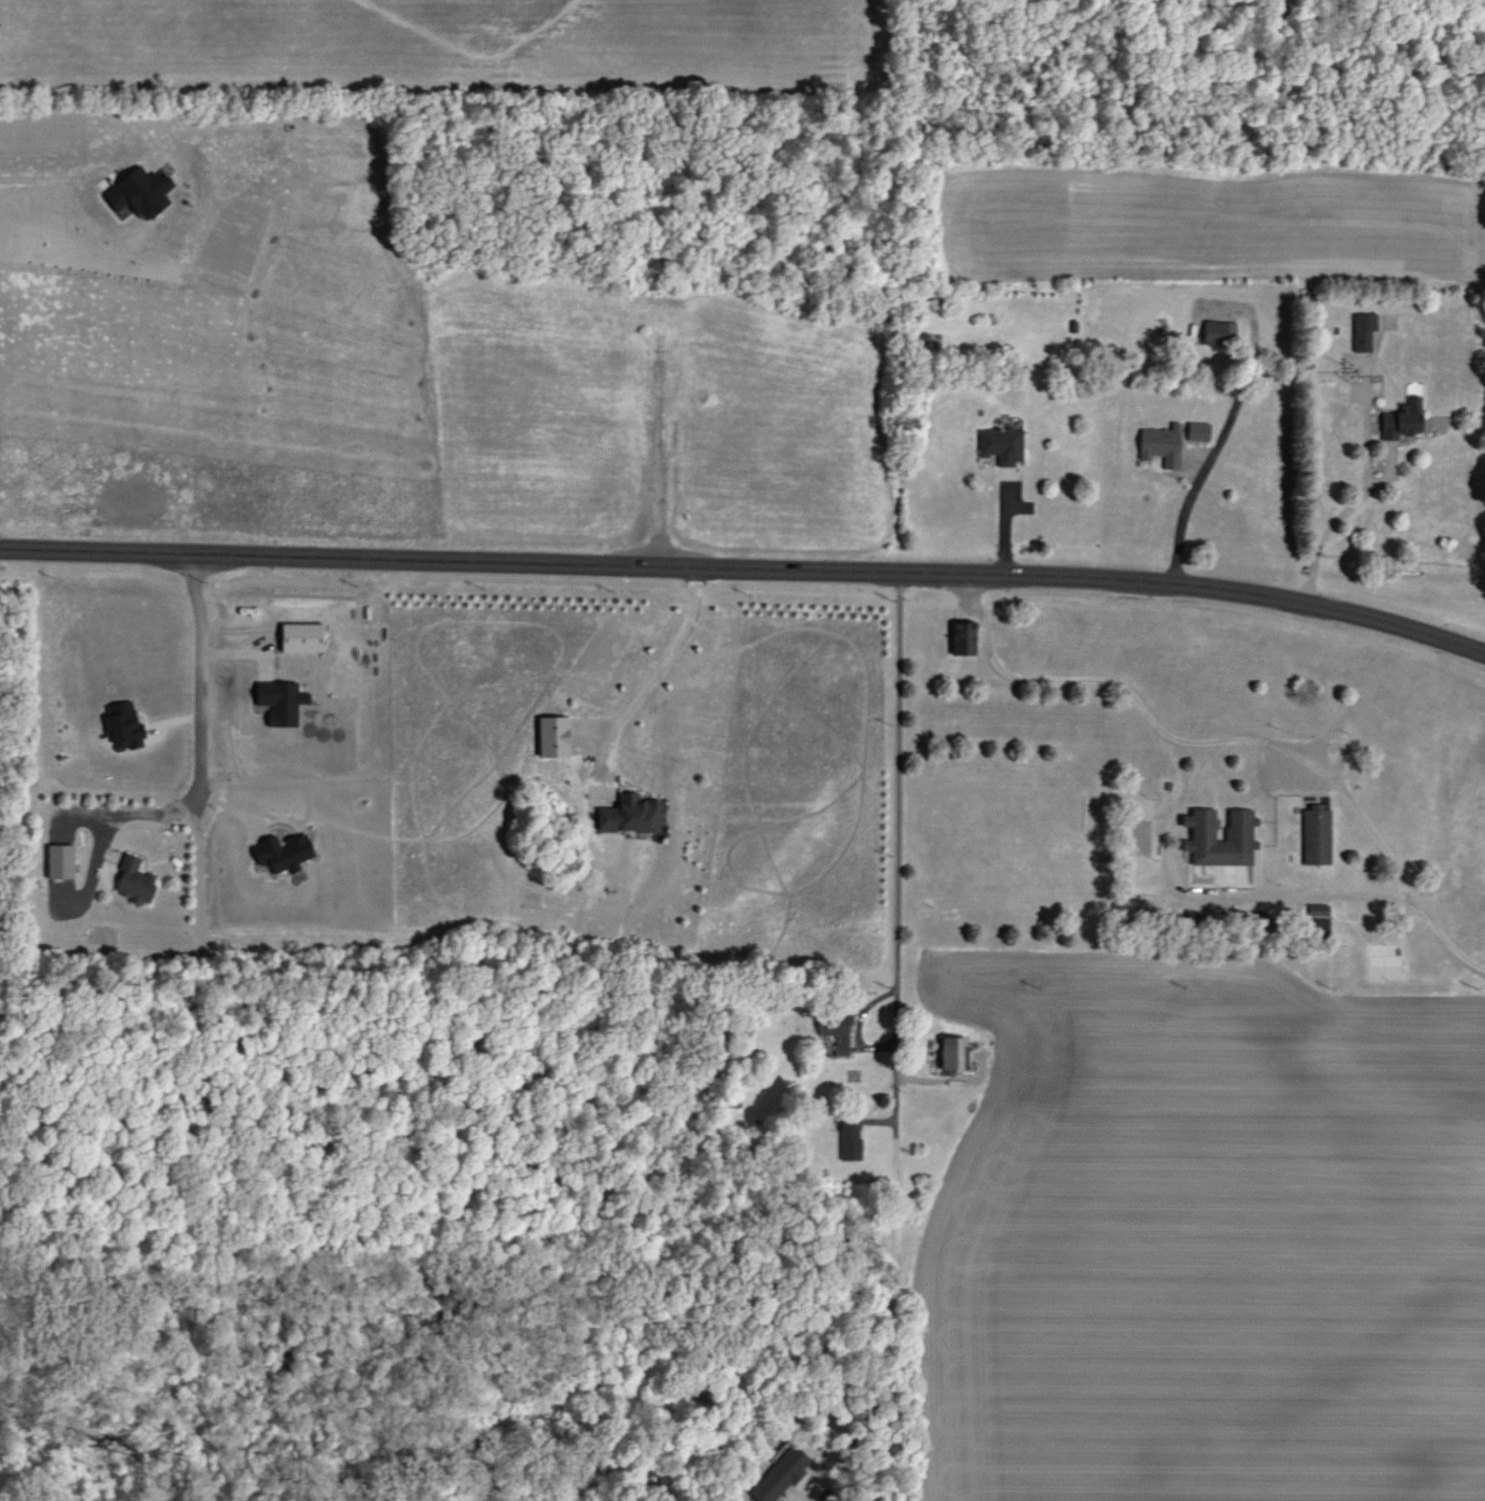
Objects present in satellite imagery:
road: (43, 175)
building: (140, 192)
building: (1363, 331)
building: (1219, 333)
building: (1402, 420)
building: (1198, 431)
building: (1161, 445)
building: (1001, 446)
road: (1208, 471)
road: (1357, 502)
road: (746, 569)
building: (301, 637)
building: (963, 638)
road: (200, 675)
road: (651, 677)
building: (281, 702)
building: (124, 725)
building: (552, 737)
road: (1230, 740)
parking lot: (1297, 763)
road: (1198, 765)
building: (630, 814)
road: (109, 828)
building: (1238, 834)
building: (1315, 835)
road: (896, 847)
building: (283, 852)
building: (61, 861)
building: (134, 880)
road: (1405, 900)
road: (1217, 901)
building: (1317, 909)
building: (1315, 925)
building: (836, 1030)
building: (954, 1053)
building: (850, 1139)
crop: (1188, 1227)
building: (781, 1475)
road: (832, 1497)

